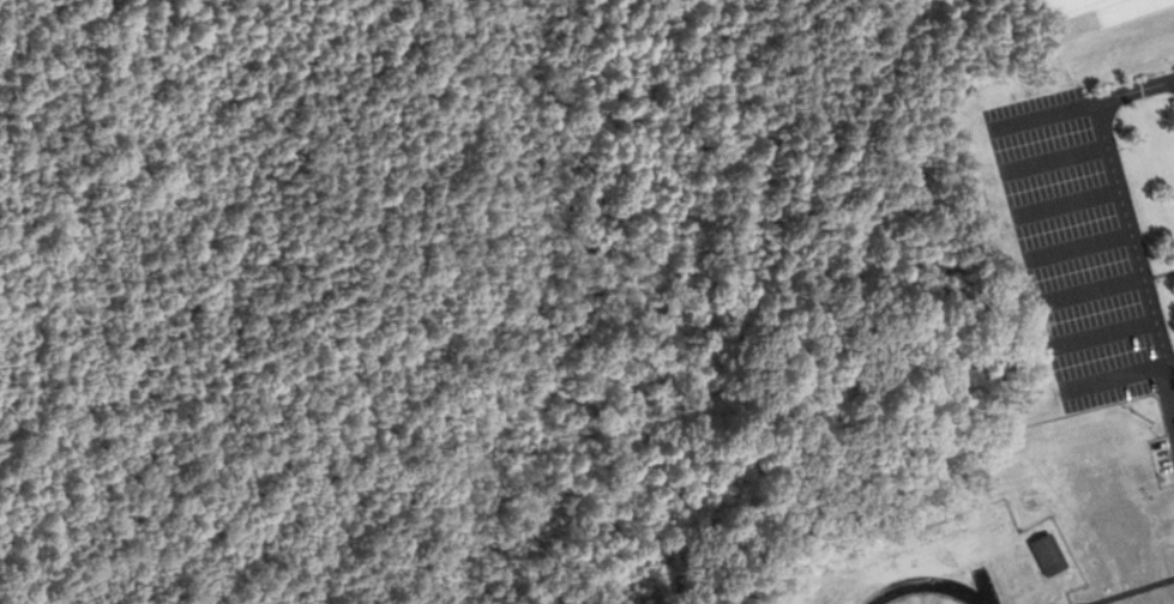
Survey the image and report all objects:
road: (1089, 102)
road: (1134, 235)
building: (1047, 554)

